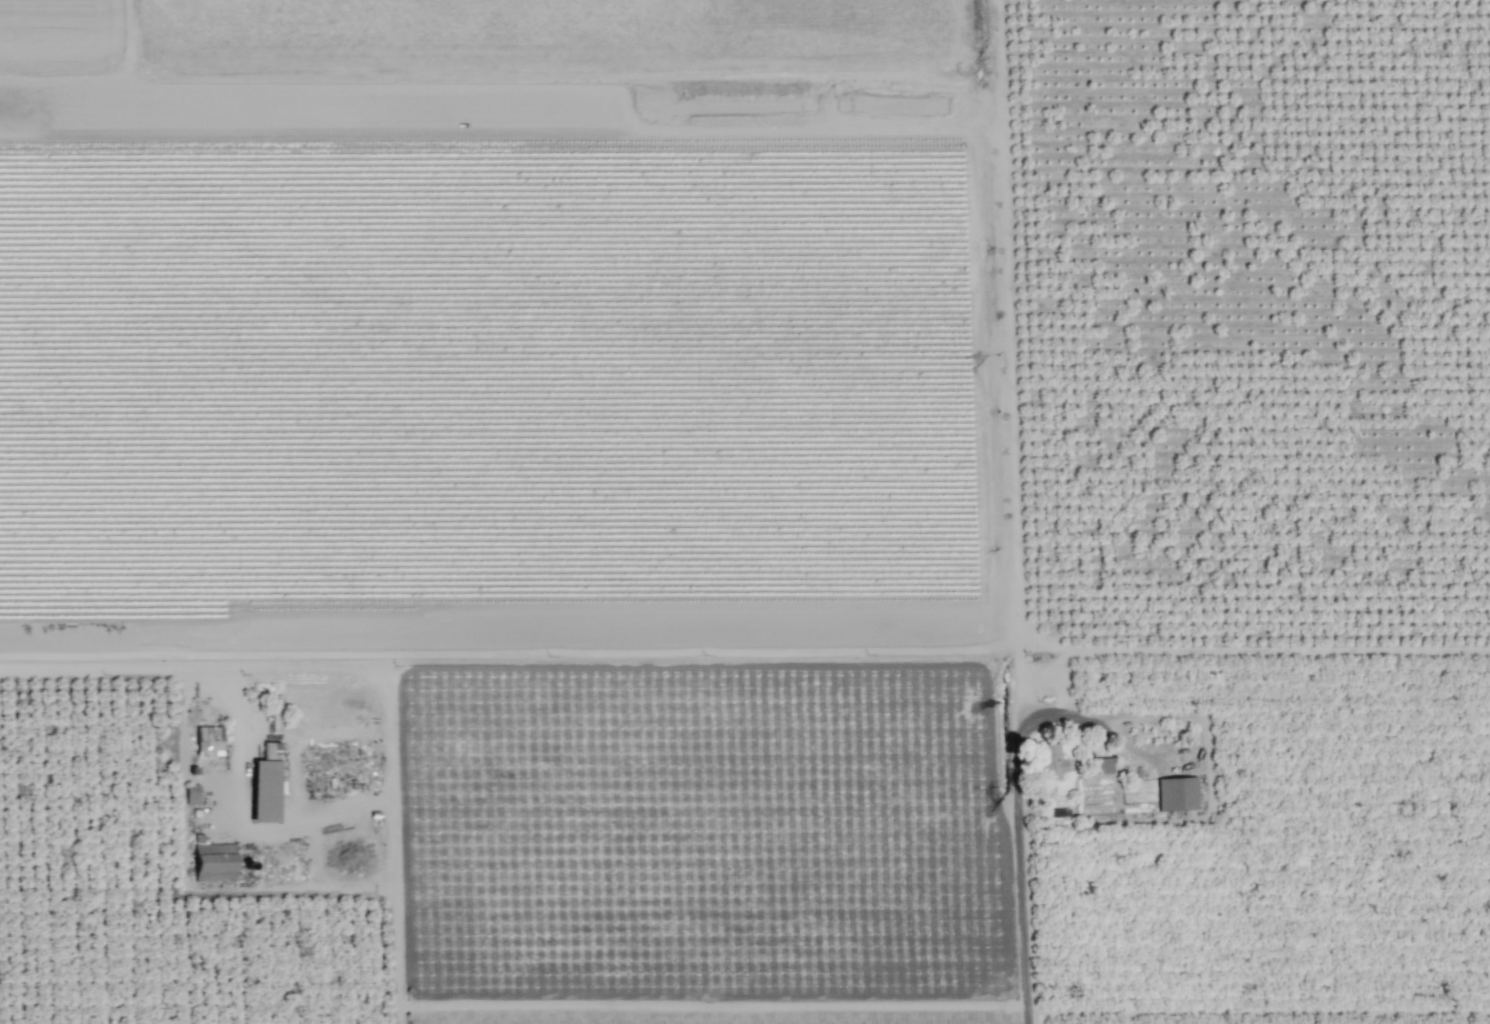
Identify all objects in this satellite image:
road: (186, 663)
building: (208, 741)
road: (1205, 746)
building: (1049, 762)
building: (1099, 766)
building: (266, 785)
building: (1177, 794)
road: (301, 827)
road: (1021, 837)
building: (213, 861)

